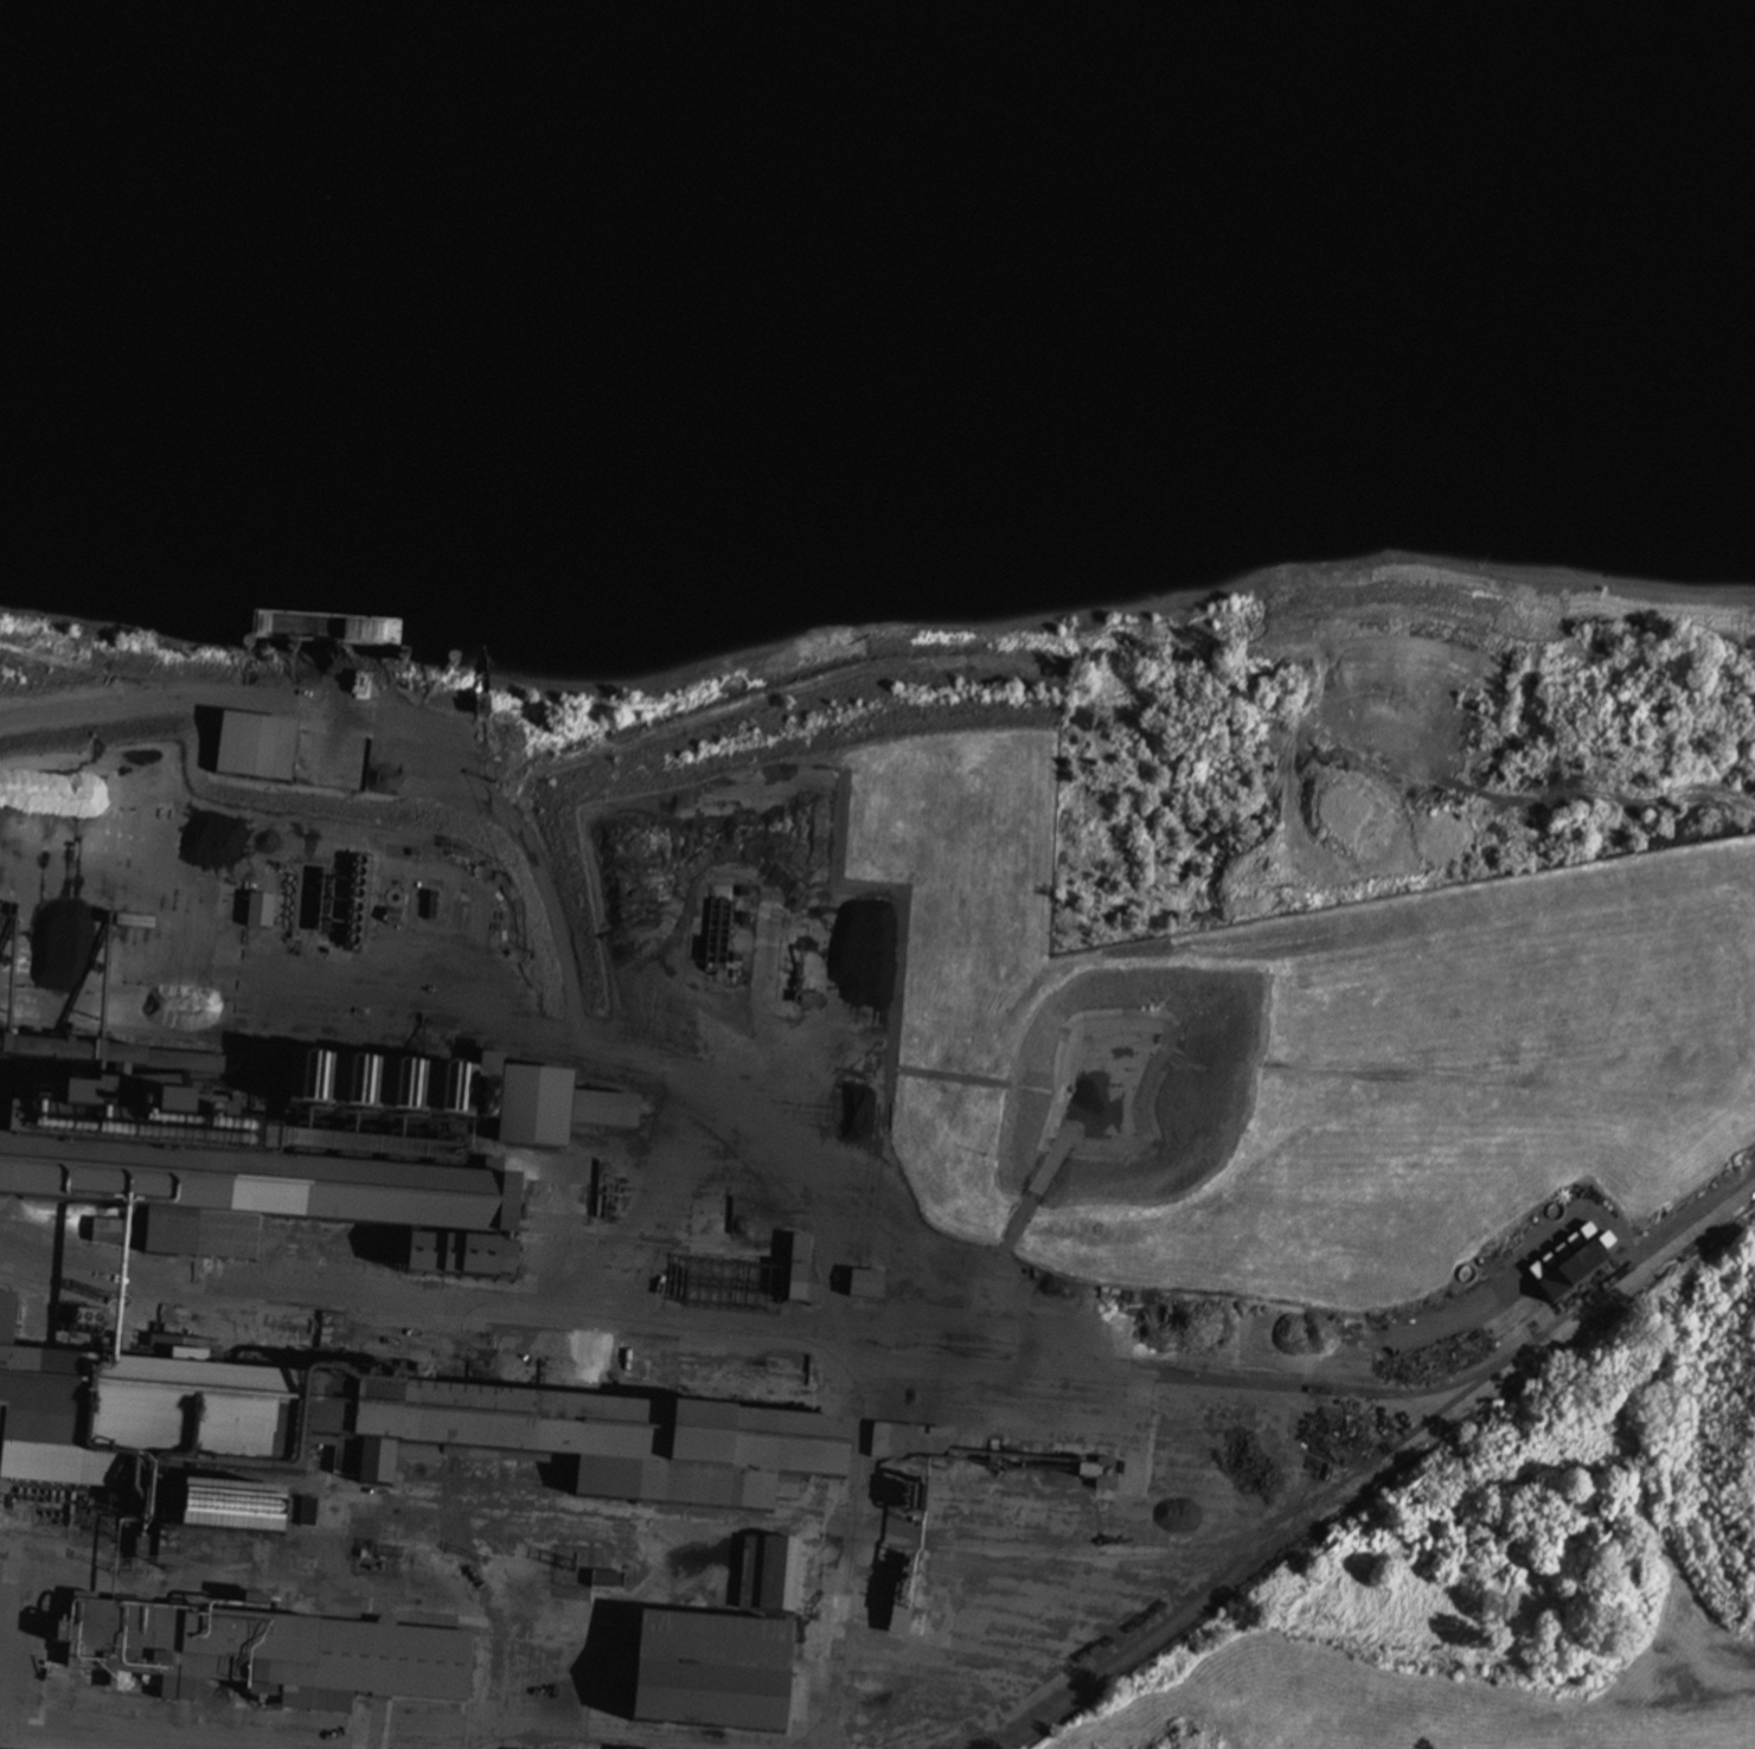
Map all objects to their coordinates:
river: (873, 82)
building: (257, 750)
building: (260, 915)
railway: (15, 1023)
building: (521, 1106)
building: (273, 1183)
railway: (386, 1217)
building: (108, 1232)
building: (1576, 1280)
building: (867, 1287)
building: (803, 1289)
railway: (771, 1348)
building: (69, 1402)
railway: (1405, 1436)
building: (884, 1443)
building: (656, 1449)
building: (257, 1653)
building: (613, 1673)
building: (722, 1678)

